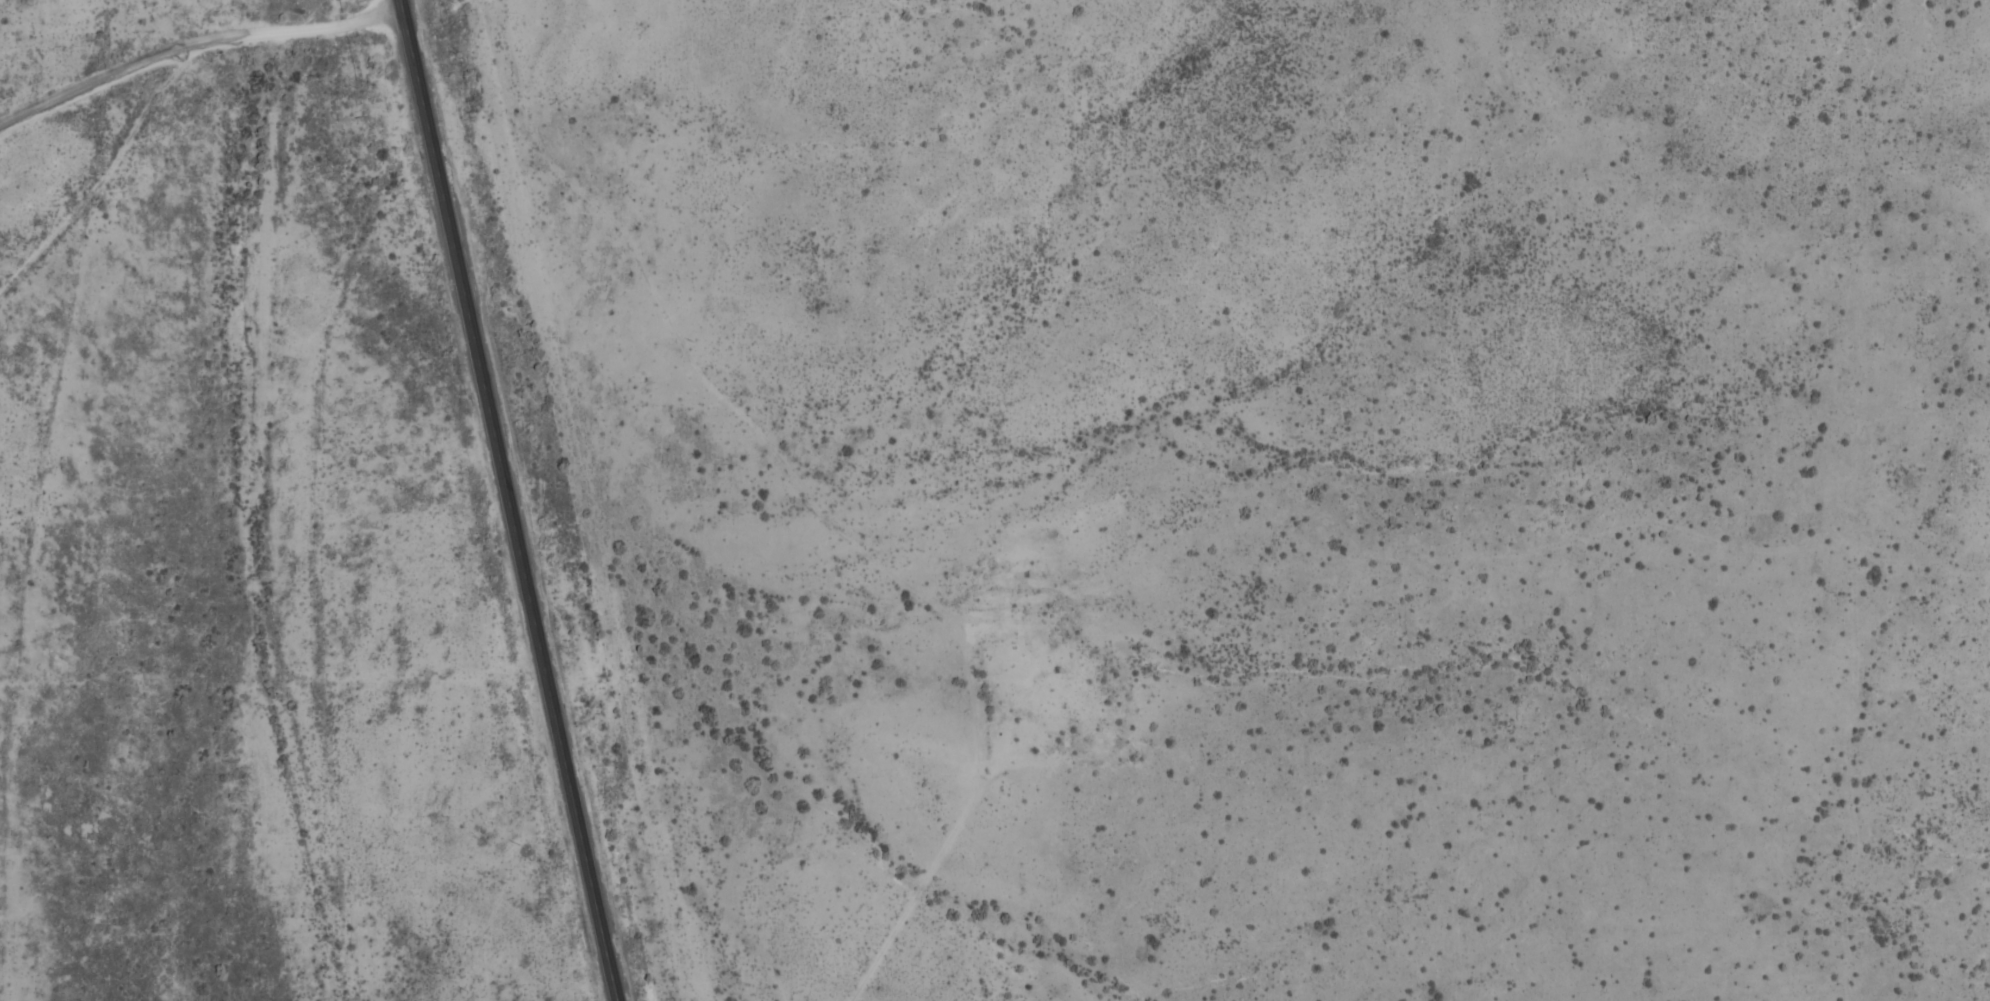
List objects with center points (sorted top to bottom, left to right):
road: (185, 61)
road: (510, 500)
road: (933, 853)

